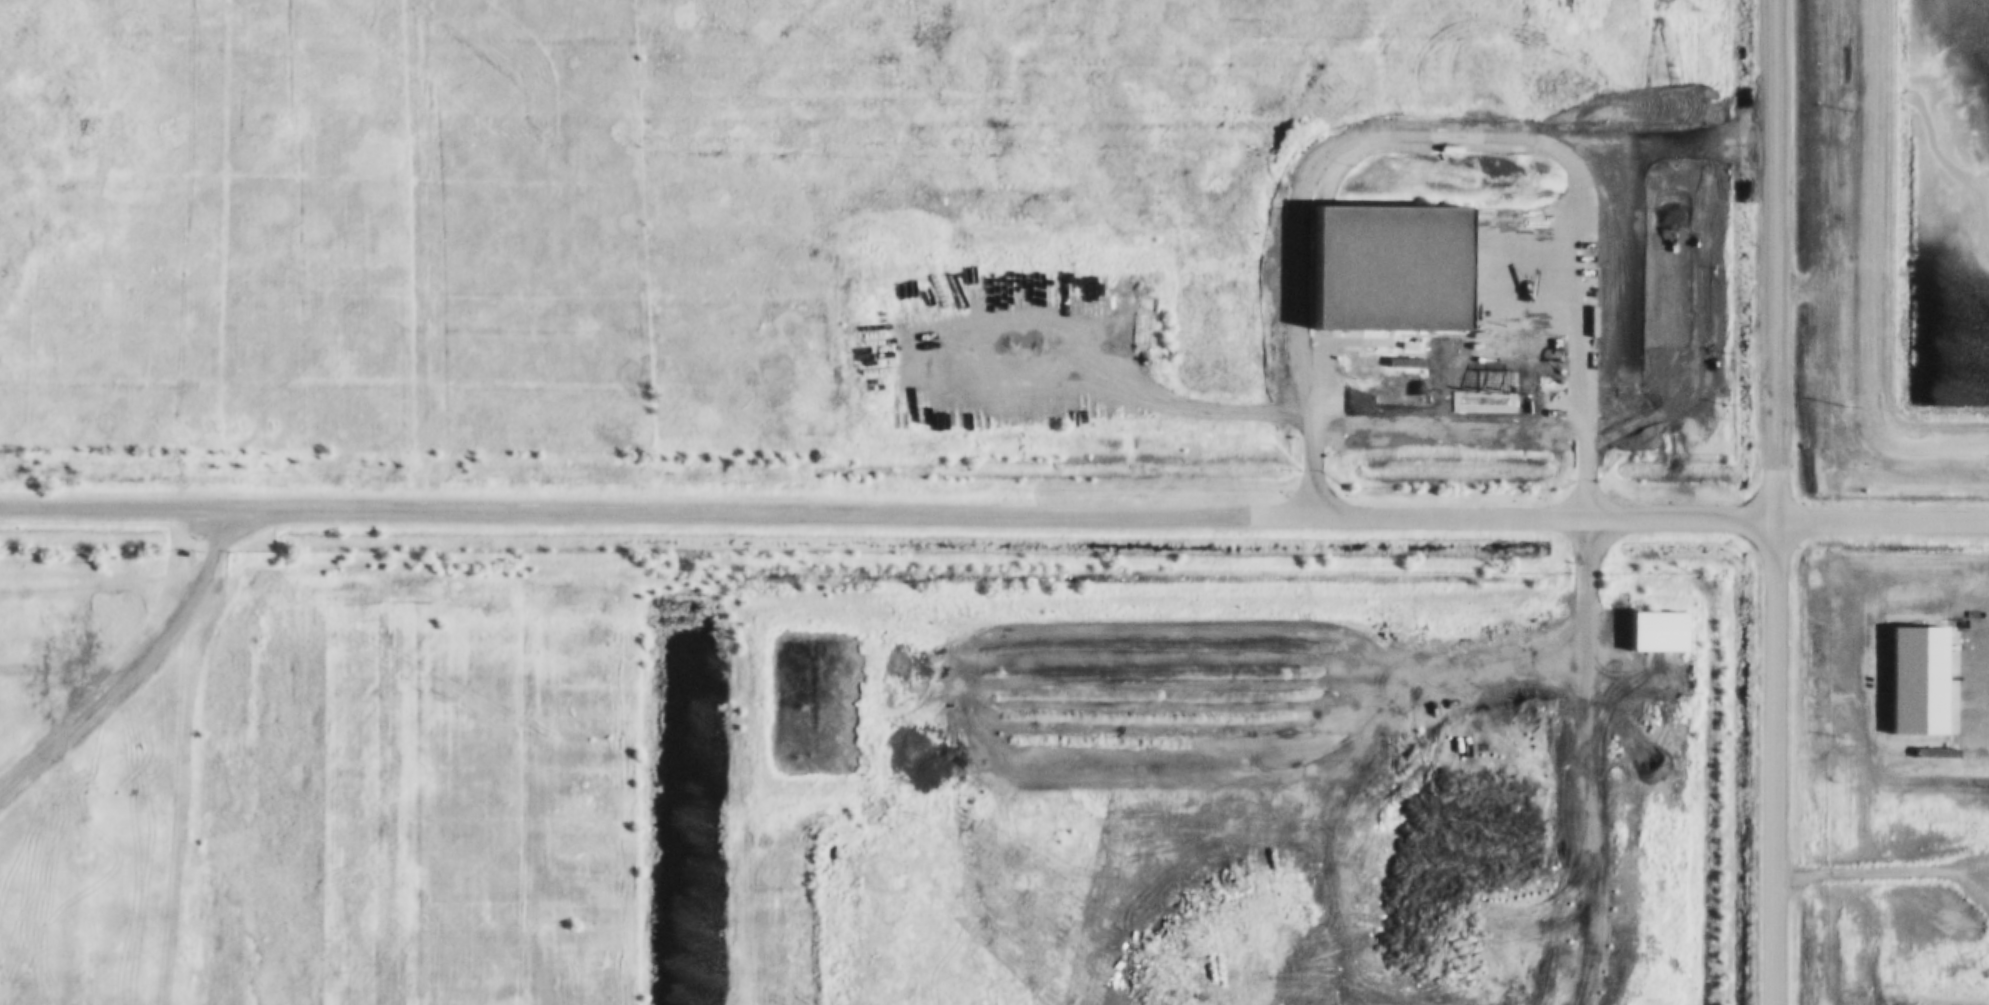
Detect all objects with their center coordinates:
road: (1777, 259)
building: (1390, 263)
road: (1450, 398)
road: (656, 515)
road: (1650, 517)
building: (1658, 629)
road: (139, 672)
building: (1915, 677)
road: (1775, 761)

